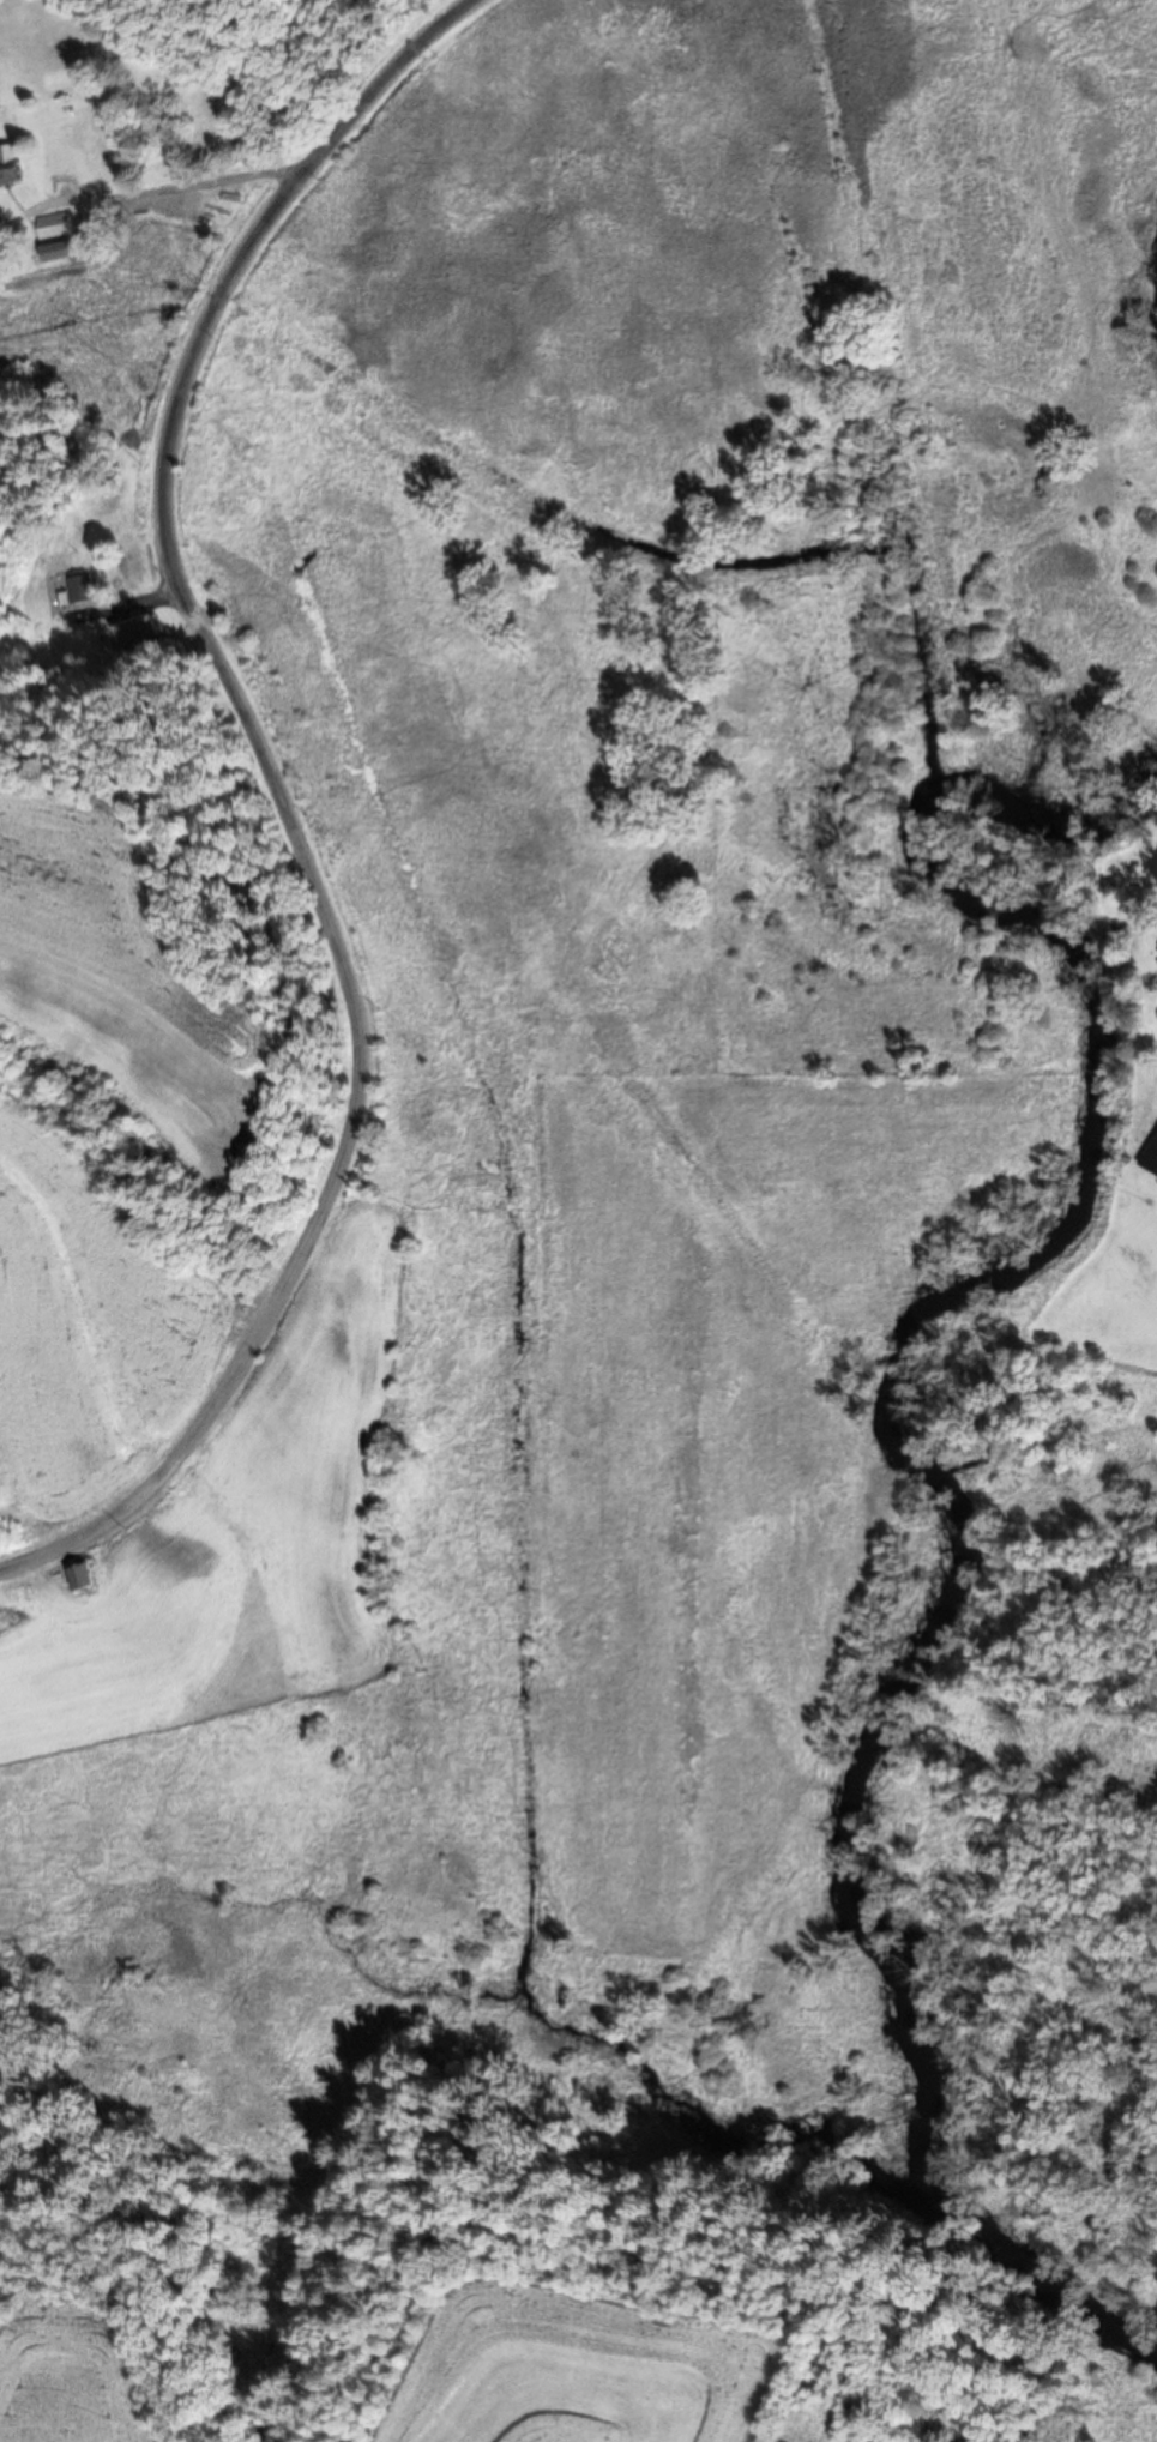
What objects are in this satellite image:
building: (10, 167)
building: (54, 227)
building: (56, 253)
building: (82, 589)
building: (140, 634)
road: (278, 798)
building: (1151, 1156)
river: (902, 1441)
building: (83, 1576)

